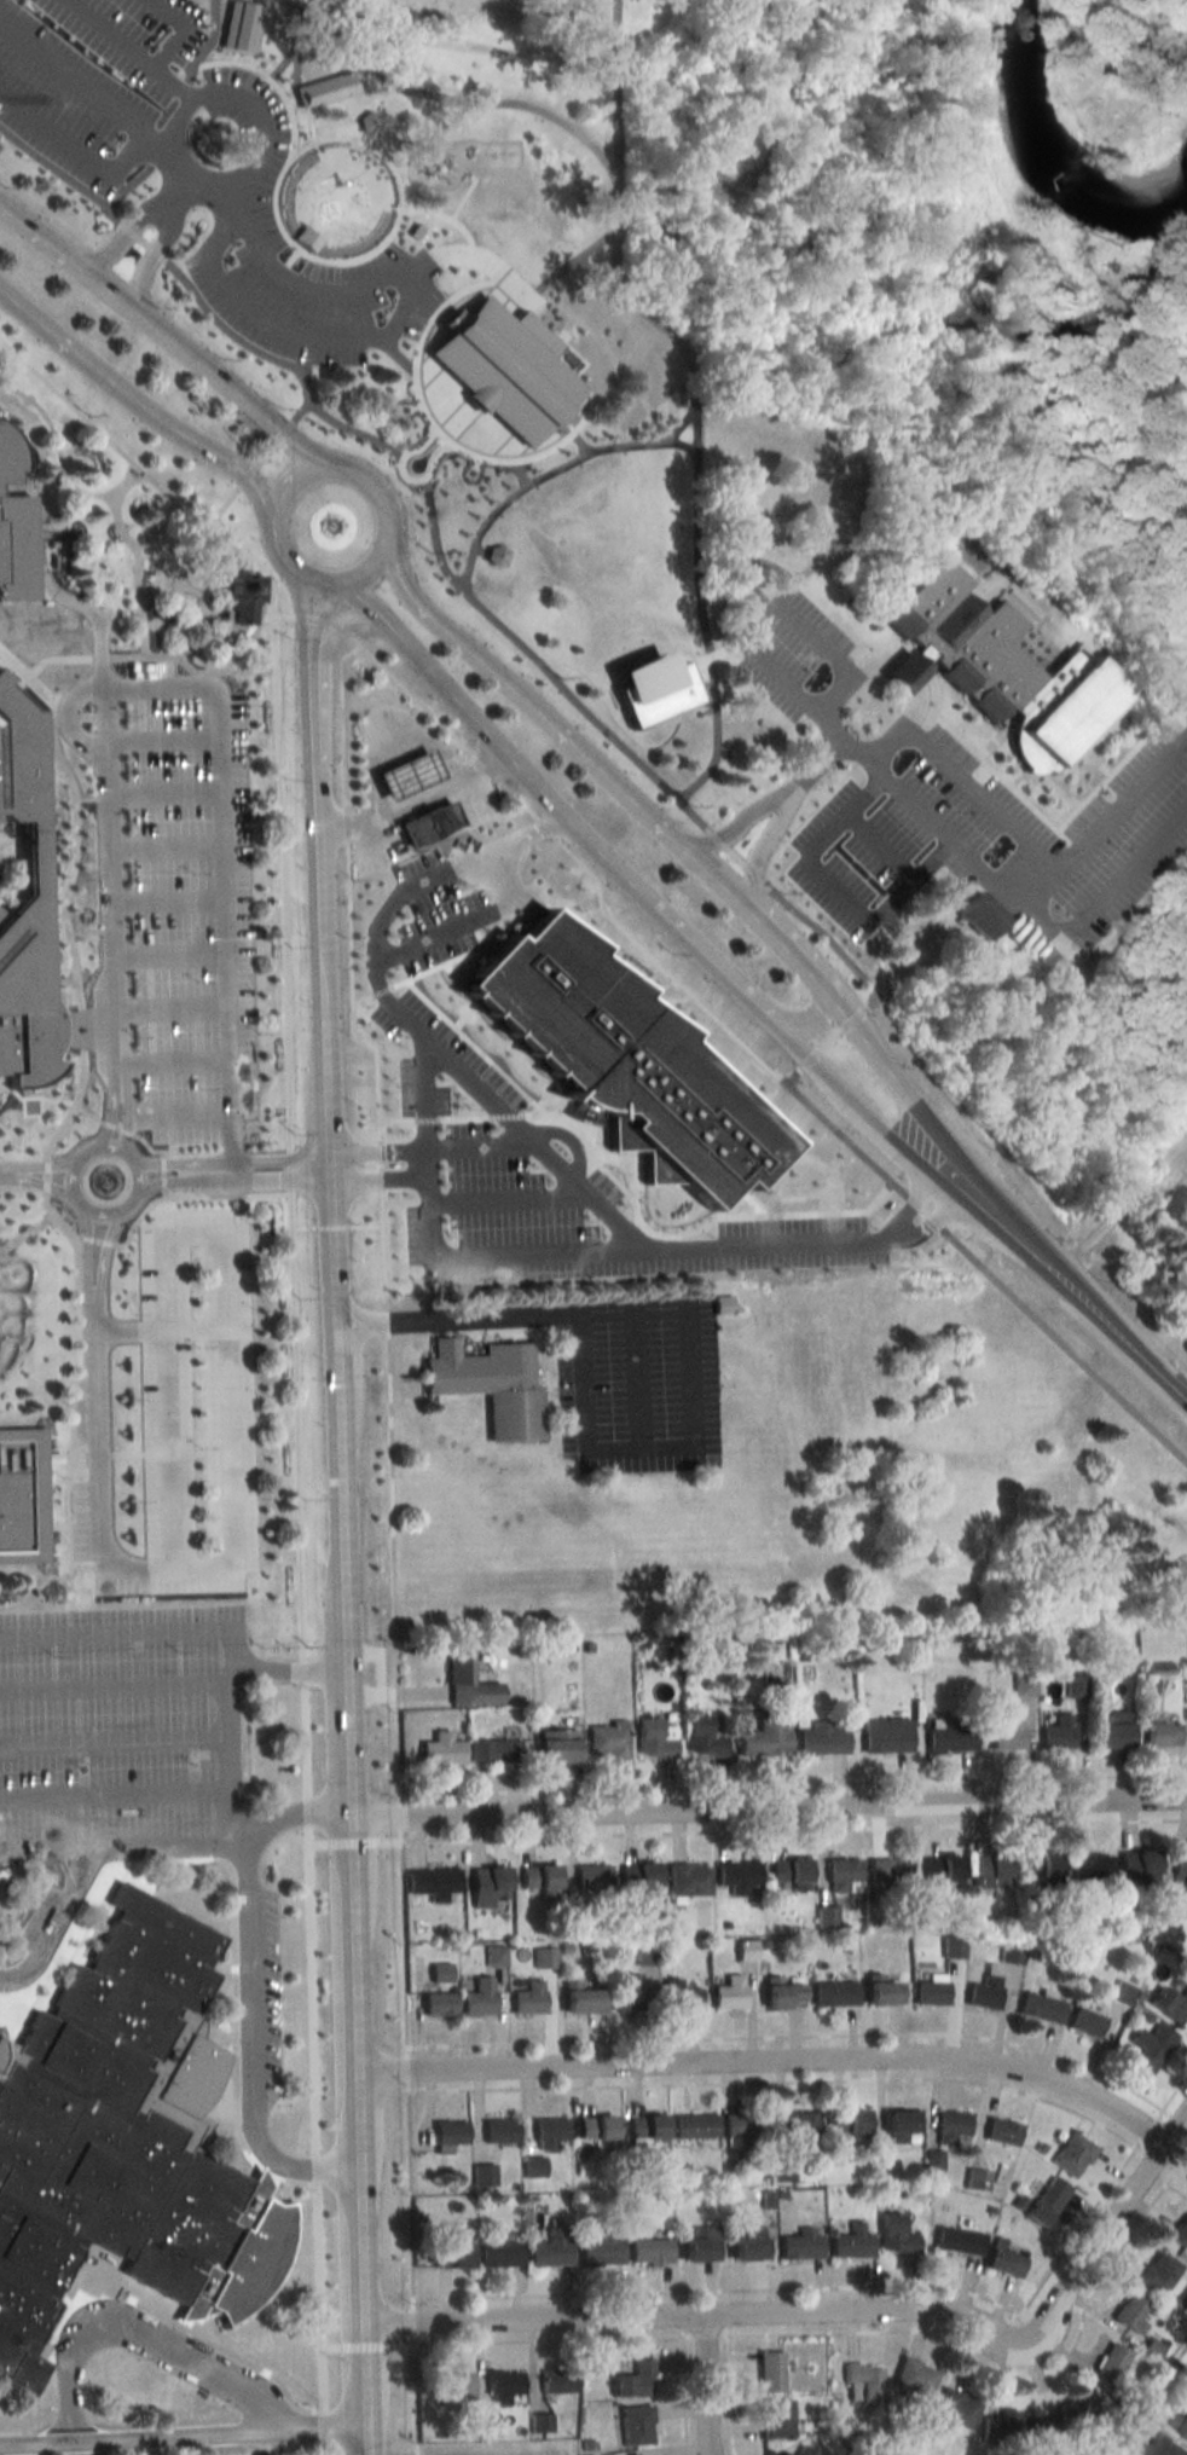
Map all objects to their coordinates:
building: (238, 28)
road: (1118, 39)
road: (619, 42)
road: (284, 50)
road: (508, 51)
building: (156, 63)
road: (146, 64)
road: (267, 80)
road: (173, 82)
road: (268, 85)
building: (323, 87)
road: (438, 98)
road: (374, 99)
road: (291, 103)
road: (163, 109)
building: (366, 123)
road: (306, 126)
road: (341, 131)
road: (141, 138)
road: (158, 141)
park: (1088, 152)
road: (52, 169)
parking lot: (196, 169)
road: (399, 173)
road: (195, 179)
road: (184, 183)
road: (462, 198)
road: (440, 222)
building: (411, 232)
road: (127, 233)
building: (306, 241)
road: (381, 241)
road: (154, 253)
road: (288, 266)
road: (525, 300)
river: (955, 303)
road: (398, 314)
road: (654, 317)
road: (164, 344)
road: (250, 349)
building: (510, 367)
road: (137, 410)
road: (429, 424)
road: (103, 433)
road: (574, 445)
road: (416, 450)
road: (66, 458)
road: (430, 463)
road: (256, 464)
park: (672, 468)
road: (517, 474)
road: (548, 474)
building: (16, 525)
road: (390, 539)
building: (496, 556)
road: (255, 560)
road: (144, 597)
building: (516, 598)
building: (241, 601)
road: (302, 601)
road: (372, 613)
road: (769, 613)
road: (703, 614)
road: (324, 615)
road: (320, 619)
road: (349, 629)
road: (102, 630)
road: (516, 643)
road: (720, 654)
road: (312, 655)
building: (1001, 667)
road: (908, 671)
road: (208, 672)
road: (213, 685)
building: (656, 689)
road: (828, 754)
road: (488, 768)
road: (587, 768)
building: (406, 774)
road: (786, 791)
road: (413, 800)
road: (545, 803)
road: (694, 811)
building: (428, 822)
road: (1033, 845)
road: (737, 852)
road: (438, 864)
road: (1024, 872)
road: (75, 887)
road: (279, 888)
building: (465, 897)
building: (24, 903)
parking lot: (186, 908)
road: (1032, 913)
building: (983, 915)
road: (822, 936)
building: (419, 996)
road: (769, 1017)
road: (830, 1038)
road: (824, 1070)
road: (890, 1084)
road: (376, 1095)
road: (112, 1111)
road: (127, 1112)
road: (540, 1150)
road: (380, 1156)
road: (36, 1163)
road: (172, 1163)
road: (585, 1165)
road: (47, 1174)
road: (268, 1175)
road: (174, 1176)
road: (290, 1177)
road: (35, 1182)
road: (68, 1186)
road: (381, 1186)
road: (1119, 1209)
road: (934, 1224)
road: (435, 1251)
road: (85, 1252)
road: (102, 1255)
road: (988, 1272)
road: (1070, 1290)
building: (722, 1304)
road: (522, 1315)
road: (386, 1320)
road: (636, 1362)
road: (335, 1368)
building: (490, 1385)
road: (74, 1401)
road: (639, 1413)
road: (296, 1424)
building: (21, 1494)
road: (216, 1563)
road: (393, 1567)
road: (112, 1631)
building: (723, 1649)
road: (284, 1667)
road: (303, 1669)
building: (468, 1680)
building: (1021, 1683)
building: (1072, 1685)
parking lot: (110, 1719)
building: (1111, 1729)
building: (1056, 1732)
building: (949, 1733)
building: (1007, 1733)
building: (1160, 1733)
road: (227, 1735)
building: (768, 1735)
building: (885, 1735)
road: (305, 1738)
building: (655, 1738)
building: (703, 1738)
building: (822, 1738)
building: (606, 1741)
building: (557, 1745)
building: (441, 1749)
building: (494, 1749)
road: (793, 1783)
road: (306, 1808)
road: (766, 1811)
road: (400, 1816)
road: (793, 1830)
road: (353, 1841)
road: (128, 1842)
building: (1041, 1865)
building: (1180, 1865)
building: (1137, 1868)
building: (990, 1870)
building: (1090, 1870)
building: (942, 1871)
building: (739, 1872)
building: (791, 1872)
building: (890, 1874)
building: (639, 1875)
building: (844, 1875)
building: (595, 1877)
building: (539, 1878)
building: (689, 1878)
building: (433, 1882)
building: (487, 1884)
road: (233, 1898)
road: (56, 1921)
road: (403, 1941)
building: (953, 1946)
building: (747, 1950)
building: (1012, 1952)
building: (545, 1957)
road: (251, 1974)
road: (311, 1987)
building: (730, 1991)
building: (984, 1991)
building: (834, 1992)
building: (884, 1992)
building: (930, 1992)
building: (1122, 1992)
building: (629, 1993)
building: (783, 1993)
building: (479, 1997)
building: (528, 1997)
building: (682, 1997)
building: (581, 2001)
building: (1170, 2003)
building: (438, 2004)
building: (1041, 2007)
building: (1085, 2021)
road: (794, 2037)
building: (1151, 2045)
road: (768, 2063)
road: (407, 2067)
road: (781, 2081)
road: (1176, 2094)
building: (847, 2121)
building: (903, 2121)
building: (110, 2124)
road: (355, 2124)
building: (800, 2124)
building: (748, 2125)
building: (696, 2126)
building: (951, 2126)
building: (597, 2129)
road: (1151, 2129)
building: (500, 2130)
building: (647, 2131)
building: (1002, 2131)
building: (450, 2132)
building: (550, 2132)
building: (1073, 2154)
road: (315, 2167)
road: (334, 2173)
building: (977, 2179)
road: (410, 2193)
building: (1048, 2201)
road: (1107, 2229)
building: (1181, 2230)
building: (896, 2235)
building: (959, 2240)
building: (852, 2242)
building: (749, 2243)
building: (801, 2245)
building: (702, 2246)
building: (551, 2247)
road: (359, 2250)
building: (601, 2250)
building: (649, 2251)
building: (499, 2253)
building: (451, 2256)
building: (1006, 2262)
building: (1159, 2272)
road: (823, 2287)
road: (319, 2295)
building: (1133, 2311)
road: (693, 2317)
road: (413, 2320)
road: (175, 2322)
road: (731, 2326)
road: (685, 2328)
road: (708, 2335)
road: (144, 2340)
road: (550, 2340)
road: (366, 2344)
building: (1153, 2349)
building: (1110, 2366)
building: (770, 2372)
building: (915, 2376)
road: (1012, 2376)
building: (636, 2380)
building: (558, 2381)
building: (863, 2382)
building: (454, 2385)
building: (503, 2386)
road: (702, 2386)
road: (363, 2390)
road: (415, 2393)
road: (734, 2395)
road: (688, 2396)
building: (956, 2408)
building: (1070, 2414)
building: (776, 2419)
building: (1181, 2421)
building: (540, 2422)
road: (322, 2425)
building: (487, 2425)
building: (636, 2426)
building: (1011, 2427)
road: (181, 2434)
building: (1165, 2447)
road: (323, 2448)
building: (636, 2454)

